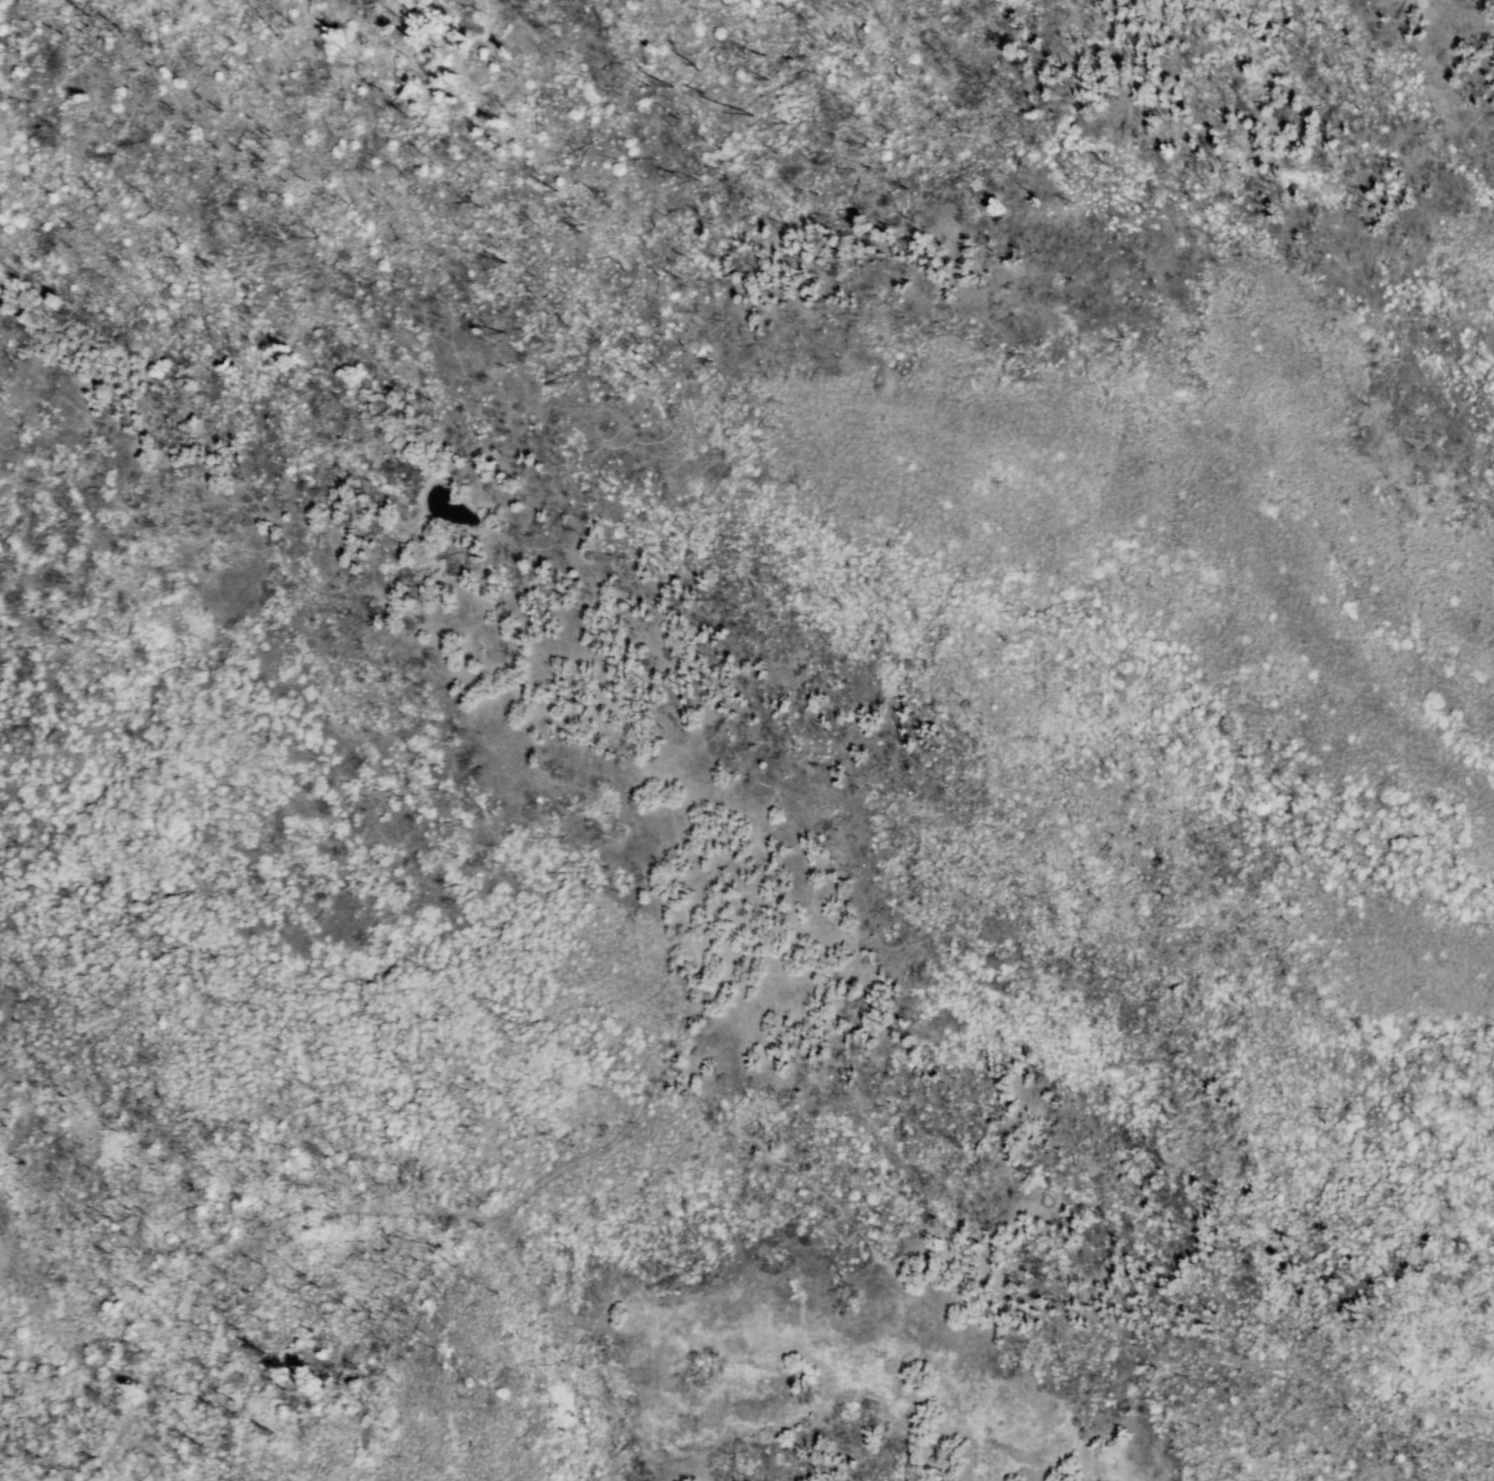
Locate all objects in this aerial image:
road: (744, 1105)

